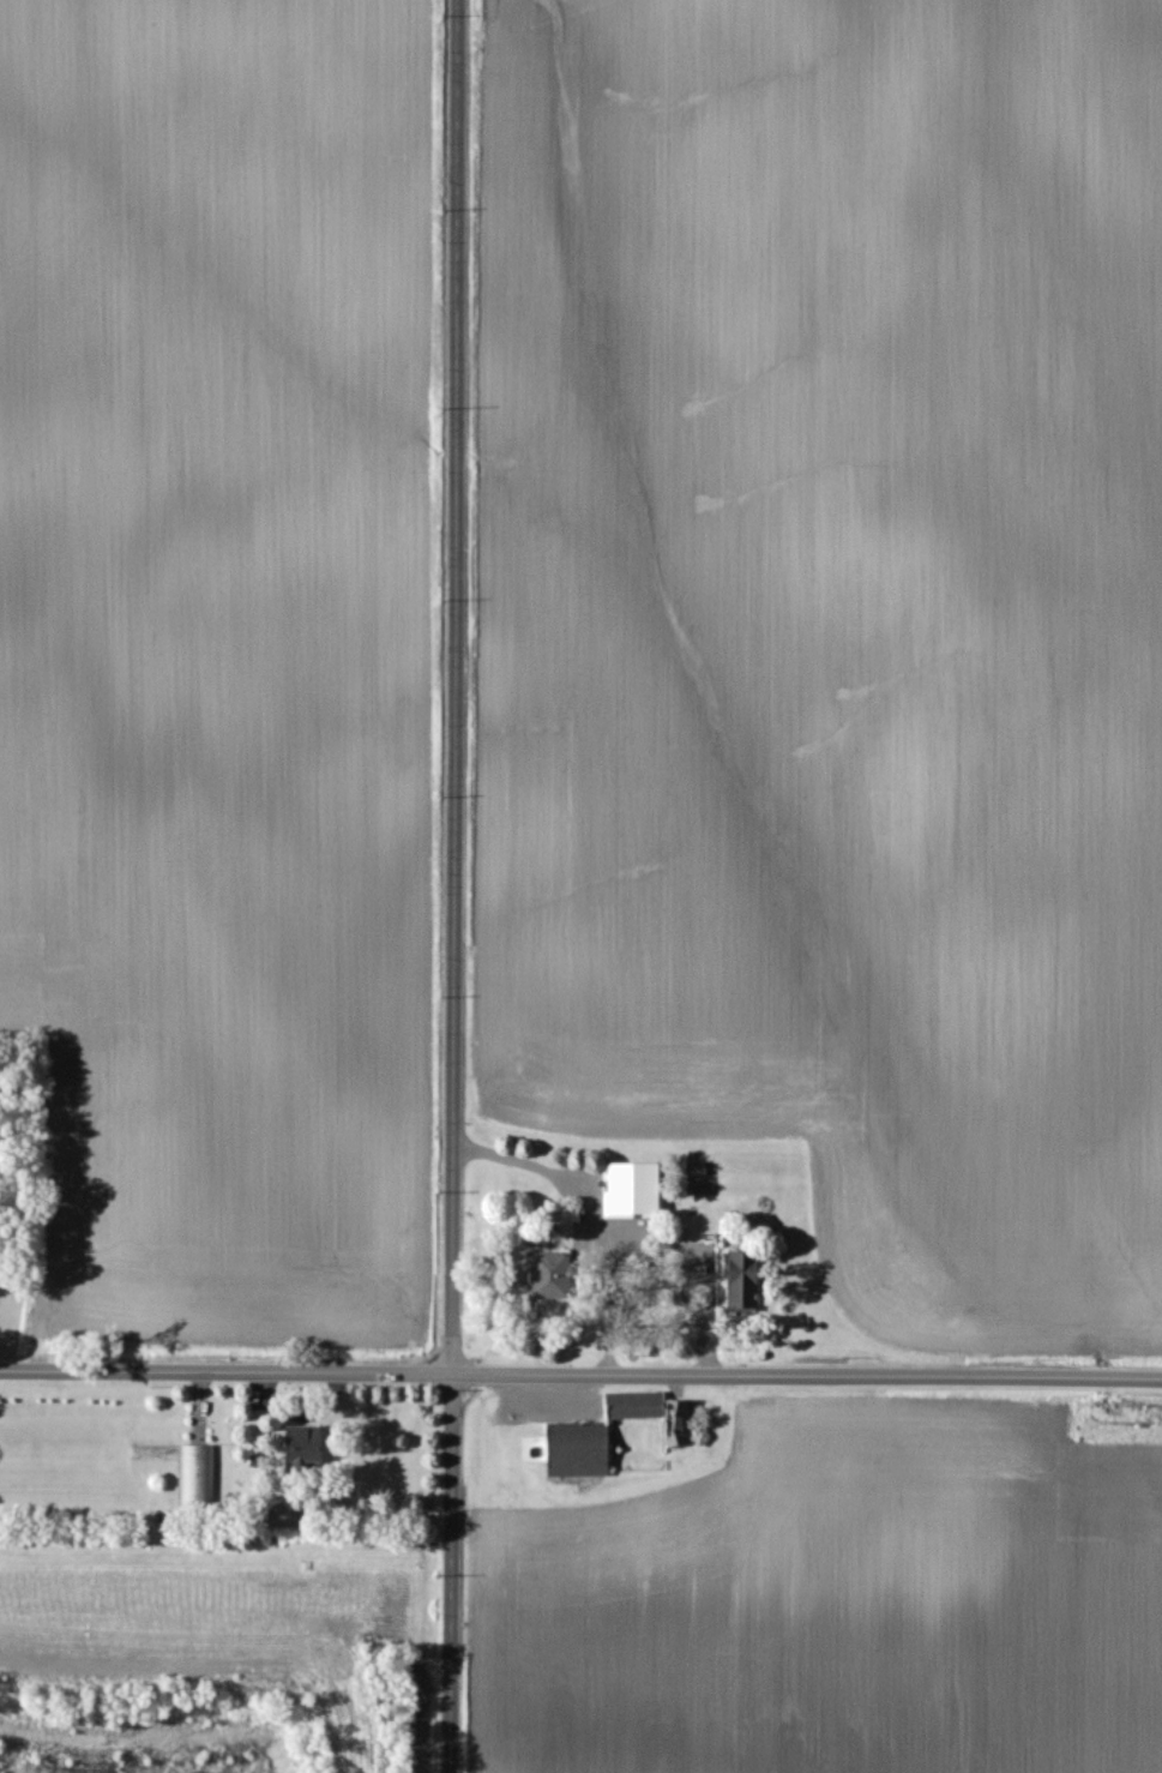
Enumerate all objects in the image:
road: (453, 886)
building: (631, 1189)
road: (591, 1218)
road: (699, 1264)
building: (547, 1275)
building: (741, 1284)
road: (580, 1375)
building: (634, 1406)
building: (680, 1423)
building: (300, 1446)
building: (576, 1450)
building: (200, 1477)

